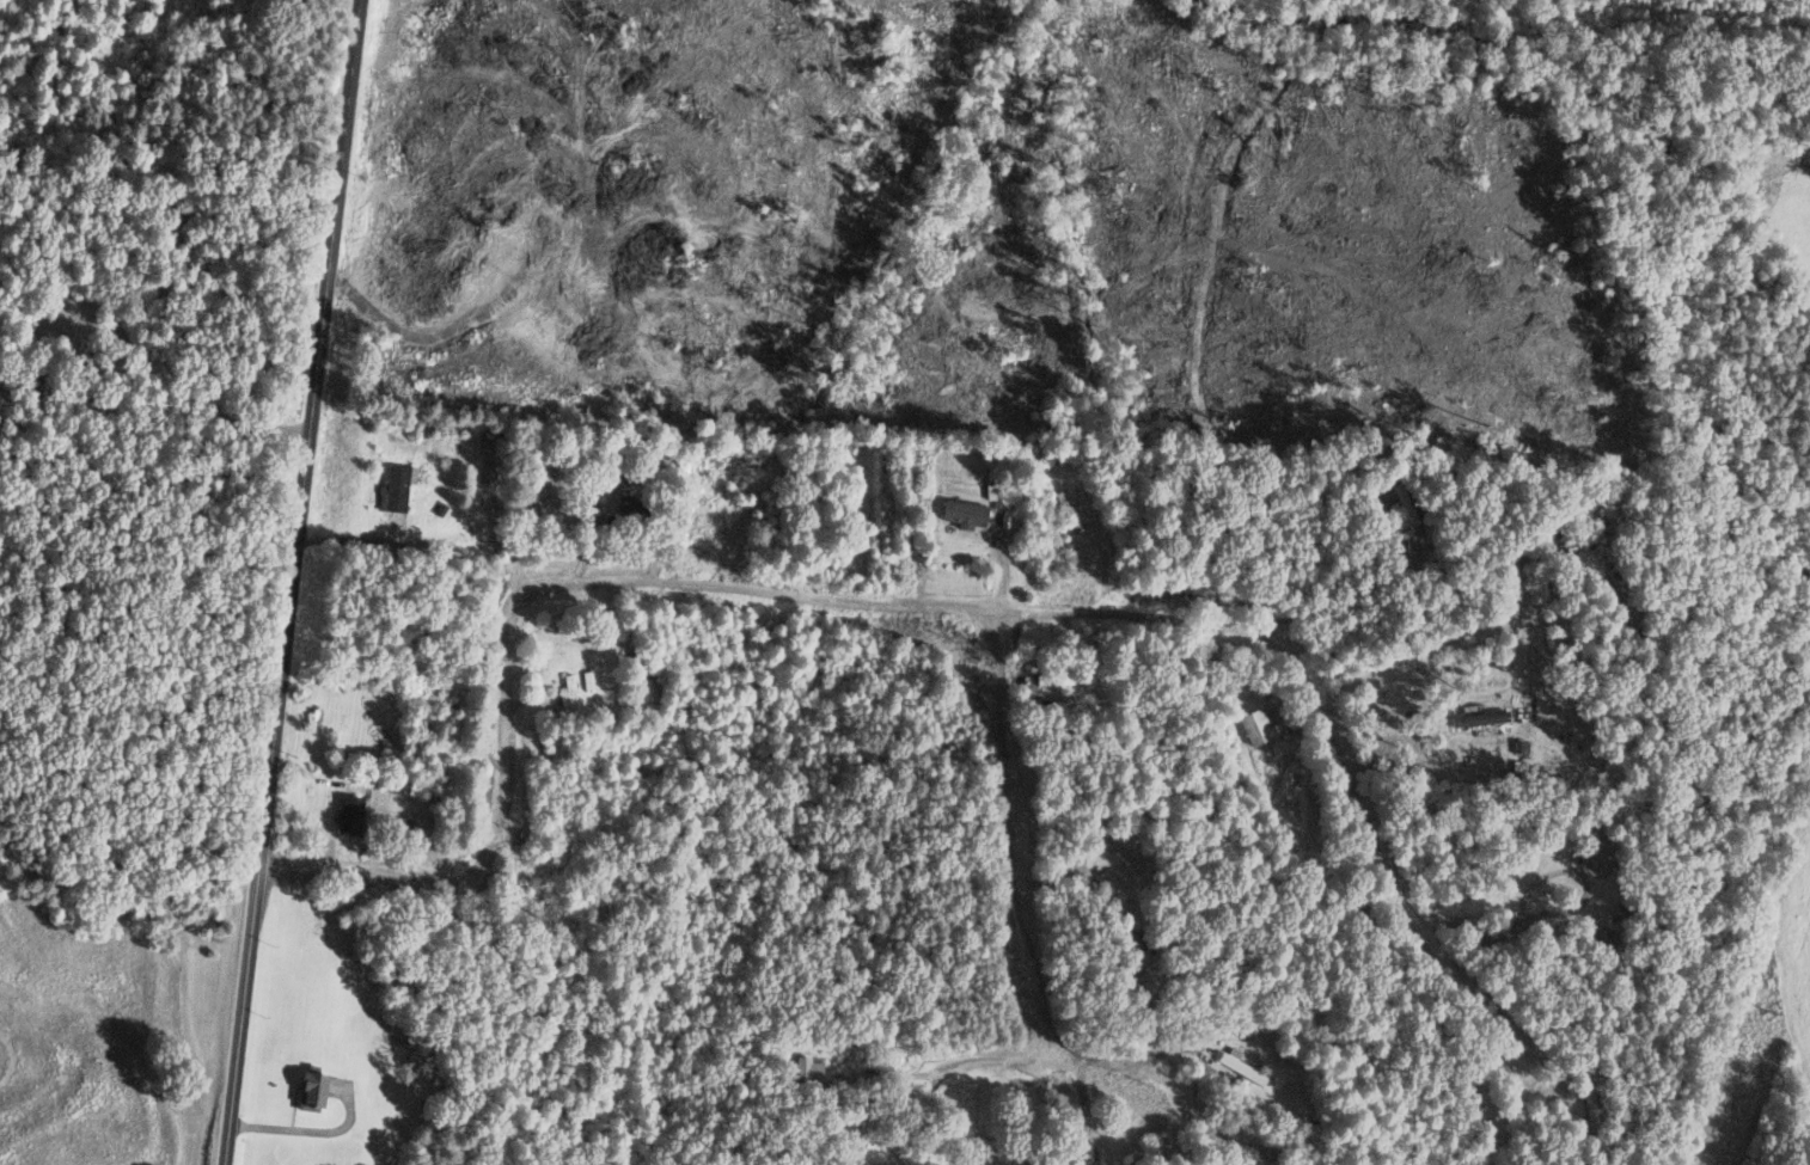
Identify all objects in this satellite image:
road: (151, 406)
building: (534, 447)
building: (485, 450)
building: (389, 488)
building: (628, 503)
building: (959, 511)
building: (1065, 511)
road: (1454, 559)
road: (286, 582)
road: (891, 603)
building: (631, 667)
building: (1051, 679)
building: (564, 695)
building: (1475, 718)
building: (1258, 723)
building: (1282, 779)
building: (343, 815)
road: (1021, 827)
building: (1591, 847)
road: (1548, 913)
building: (1130, 981)
road: (1062, 1051)
building: (1239, 1068)
building: (802, 1071)
building: (306, 1091)
building: (1586, 1106)
building: (1149, 1152)

